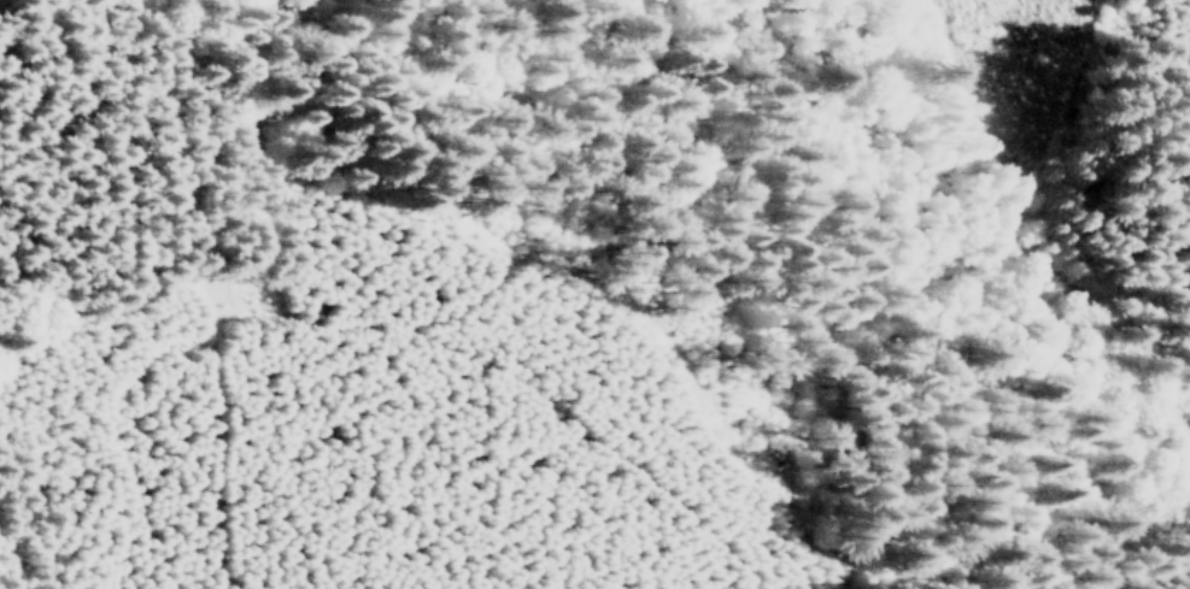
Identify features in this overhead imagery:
road: (997, 205)

